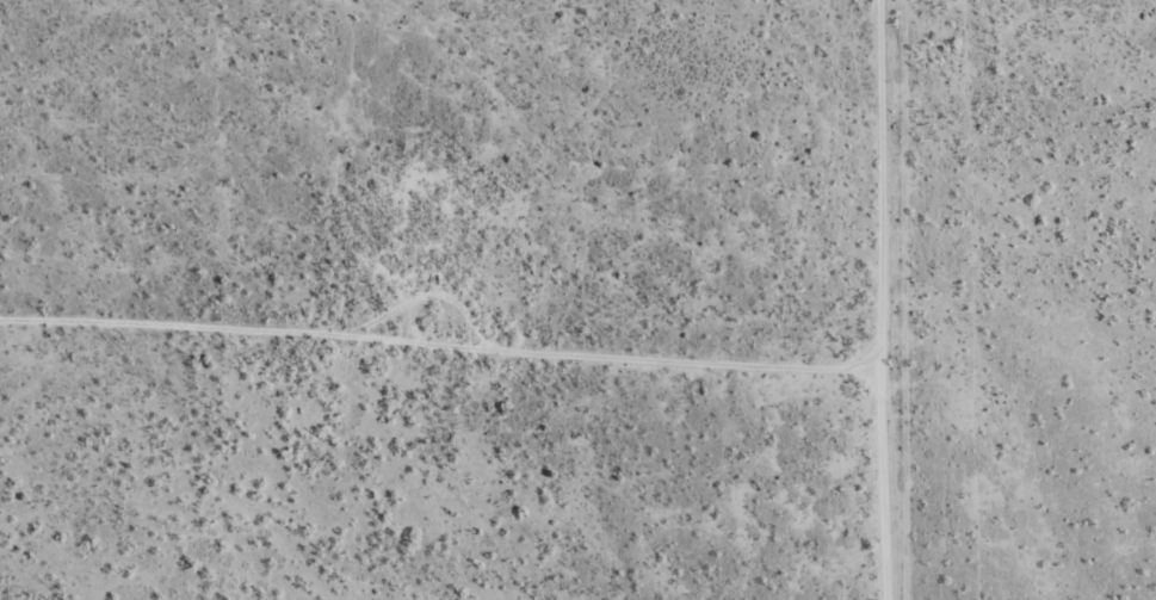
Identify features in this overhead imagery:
road: (885, 299)

